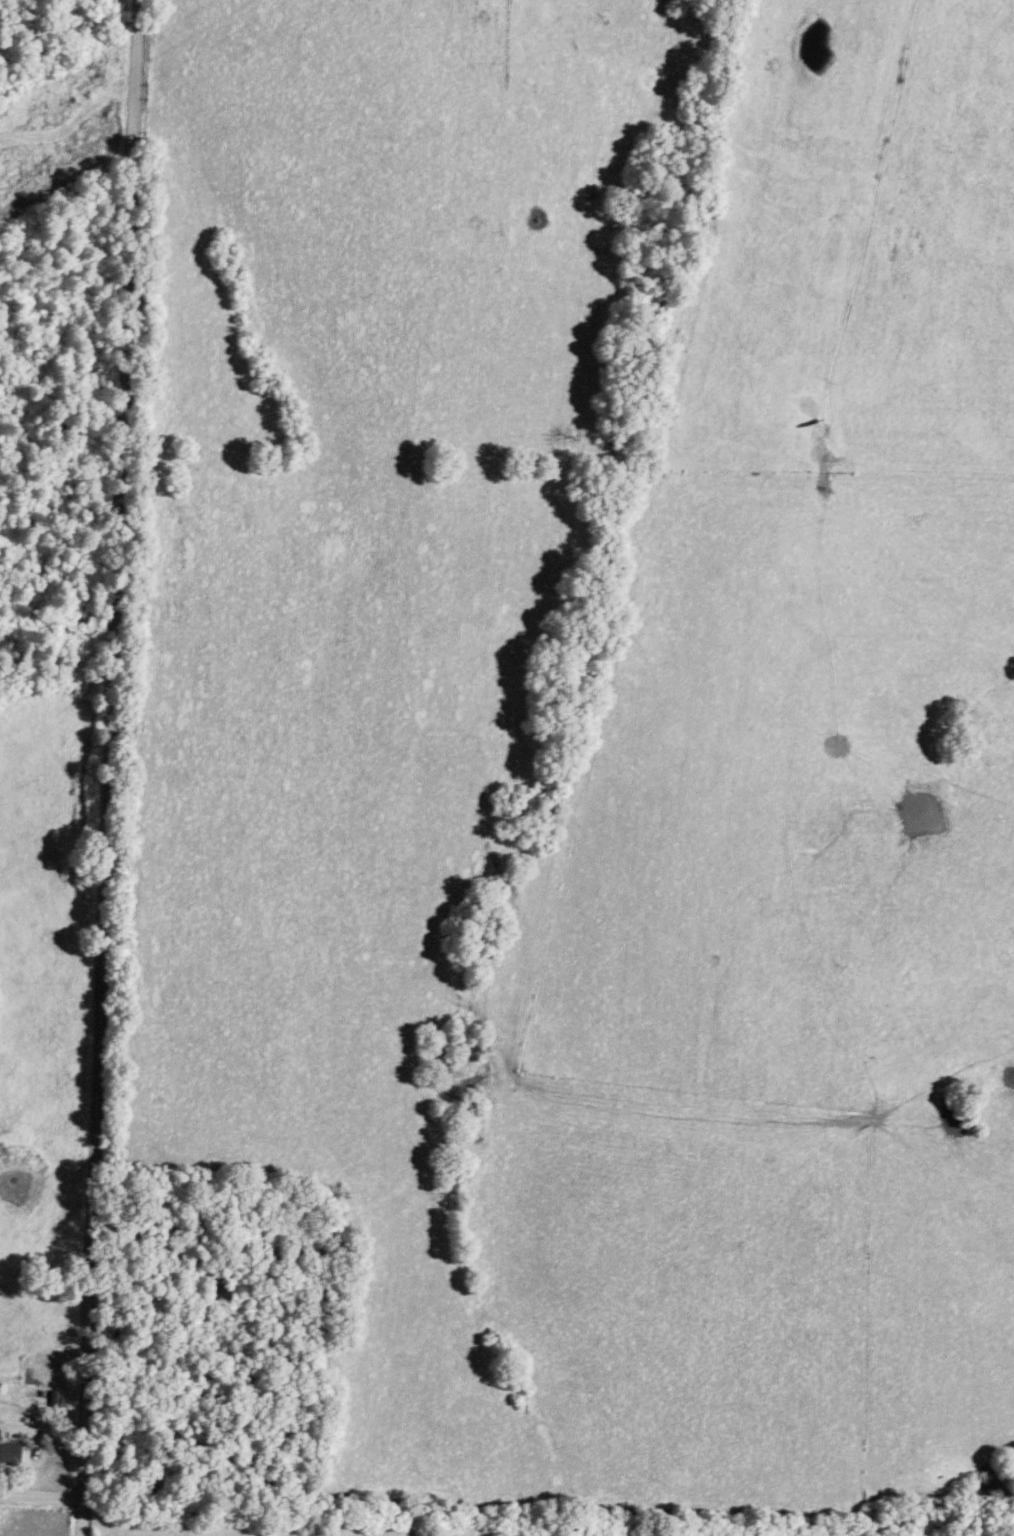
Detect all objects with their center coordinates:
road: (108, 767)
building: (12, 1458)
road: (42, 1497)

